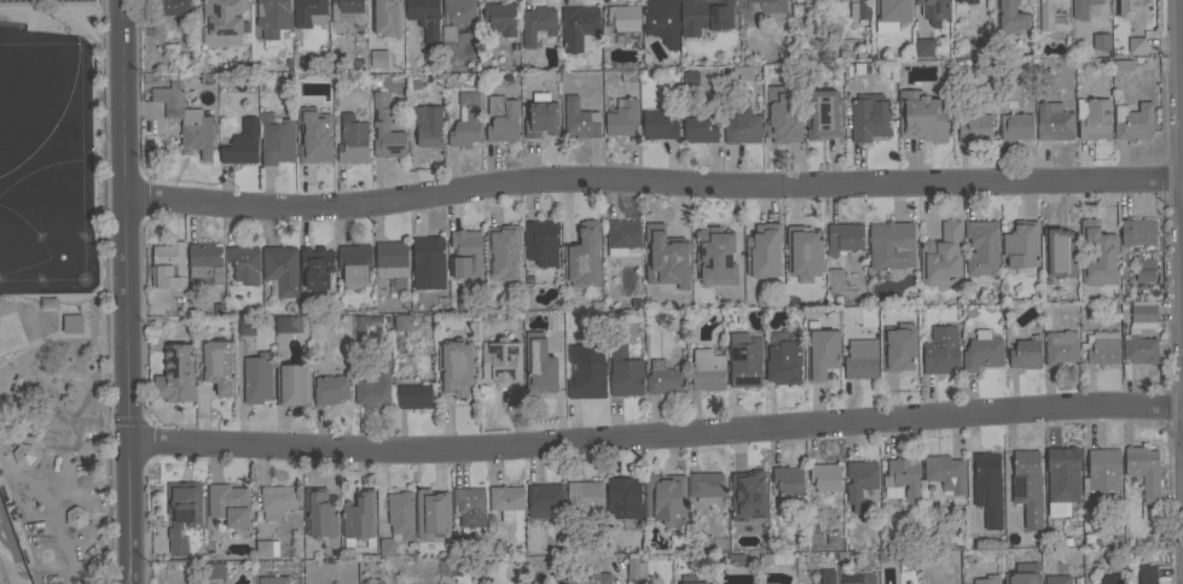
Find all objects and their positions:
building: (956, 0)
building: (814, 1)
building: (1002, 4)
road: (1182, 6)
building: (935, 7)
building: (1081, 7)
building: (170, 8)
building: (769, 8)
building: (862, 8)
building: (1133, 10)
building: (347, 11)
building: (308, 12)
building: (891, 14)
building: (704, 16)
building: (224, 17)
building: (272, 17)
building: (385, 17)
building: (458, 17)
building: (500, 17)
building: (1050, 18)
building: (423, 19)
building: (624, 21)
building: (661, 21)
building: (537, 24)
building: (579, 27)
building: (853, 30)
building: (1101, 40)
building: (1136, 45)
building: (923, 47)
building: (860, 54)
building: (1123, 64)
building: (354, 65)
park: (30, 66)
building: (860, 69)
building: (743, 71)
building: (626, 77)
building: (689, 77)
building: (204, 78)
building: (375, 81)
building: (632, 88)
building: (823, 115)
building: (540, 116)
building: (922, 116)
building: (869, 117)
building: (501, 118)
building: (1092, 118)
building: (185, 119)
building: (579, 119)
building: (622, 119)
building: (465, 121)
building: (1052, 121)
building: (1132, 121)
building: (385, 125)
building: (659, 125)
building: (741, 125)
building: (1015, 125)
building: (974, 127)
building: (783, 128)
building: (425, 129)
building: (698, 129)
building: (276, 139)
building: (352, 140)
building: (242, 144)
building: (314, 151)
road: (654, 182)
building: (1137, 232)
building: (981, 234)
building: (622, 235)
building: (843, 238)
building: (661, 239)
building: (541, 241)
building: (1021, 244)
building: (505, 245)
building: (891, 245)
building: (804, 250)
building: (762, 251)
building: (1057, 251)
building: (494, 252)
building: (465, 253)
building: (389, 255)
building: (714, 255)
building: (1097, 255)
building: (941, 256)
building: (582, 257)
building: (205, 261)
building: (428, 262)
building: (243, 263)
building: (354, 264)
building: (168, 265)
building: (315, 267)
building: (280, 268)
building: (1144, 269)
building: (835, 280)
park: (23, 290)
road: (127, 291)
park: (52, 294)
building: (466, 302)
building: (604, 317)
building: (360, 321)
building: (401, 322)
building: (286, 323)
building: (245, 326)
building: (82, 328)
building: (1132, 333)
building: (1060, 346)
building: (1101, 346)
building: (940, 350)
building: (981, 350)
building: (1025, 352)
building: (820, 354)
building: (744, 360)
building: (860, 360)
building: (898, 360)
building: (500, 362)
building: (783, 362)
building: (218, 364)
building: (539, 364)
building: (454, 368)
building: (707, 370)
building: (624, 372)
road: (8, 373)
building: (175, 374)
road: (79, 376)
building: (256, 378)
building: (665, 378)
building: (586, 380)
building: (292, 384)
building: (372, 385)
building: (330, 389)
building: (413, 396)
road: (13, 419)
road: (145, 420)
road: (655, 434)
road: (46, 442)
building: (1102, 469)
building: (986, 471)
building: (1143, 471)
building: (945, 472)
building: (1062, 473)
building: (824, 477)
building: (787, 480)
building: (903, 481)
building: (860, 483)
building: (704, 485)
building: (750, 485)
building: (1027, 486)
building: (625, 496)
building: (544, 497)
building: (585, 498)
building: (665, 498)
building: (505, 500)
building: (277, 501)
building: (228, 504)
building: (469, 506)
building: (182, 512)
building: (431, 513)
building: (319, 514)
building: (359, 515)
building: (75, 516)
building: (396, 521)
building: (1117, 536)
building: (1148, 539)
building: (940, 541)
building: (1066, 541)
building: (1096, 542)
building: (720, 543)
building: (266, 548)
building: (772, 557)
building: (736, 559)
building: (448, 566)
building: (634, 566)
building: (213, 570)
building: (1021, 573)
building: (1146, 574)
building: (822, 577)
building: (597, 578)
building: (1110, 578)
road: (0, 579)
building: (1056, 579)
building: (1075, 579)
building: (266, 580)
building: (979, 580)
building: (695, 583)
building: (857, 583)

